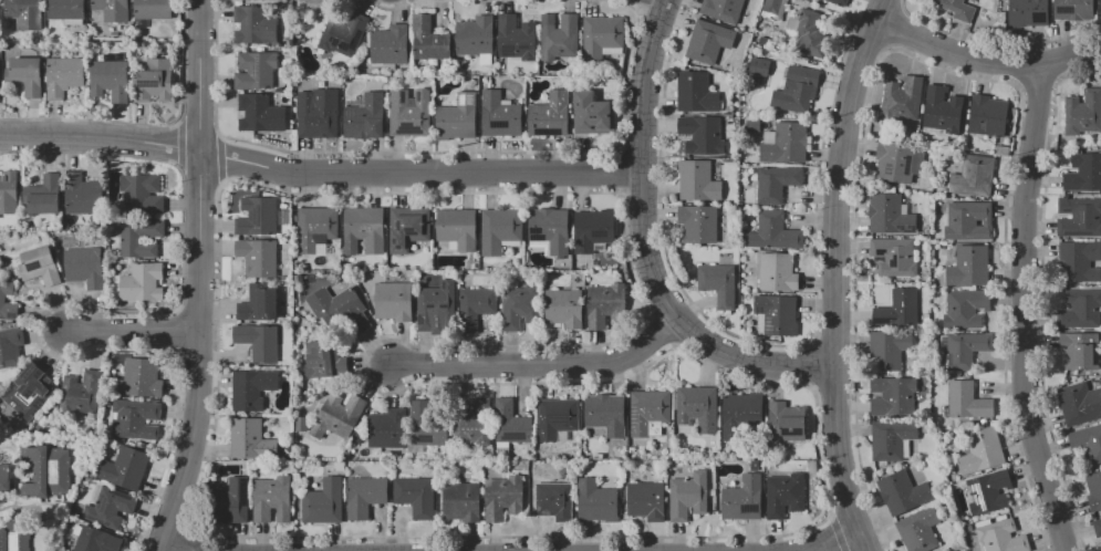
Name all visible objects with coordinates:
building: (324, 1)
building: (838, 2)
building: (1100, 7)
building: (773, 8)
building: (64, 9)
building: (153, 9)
building: (955, 9)
building: (1071, 9)
building: (112, 10)
building: (721, 10)
building: (23, 12)
building: (1027, 12)
building: (72, 22)
building: (255, 23)
building: (343, 34)
building: (601, 34)
building: (808, 34)
building: (559, 35)
building: (475, 37)
building: (516, 38)
building: (428, 40)
building: (762, 41)
building: (389, 44)
building: (710, 44)
road: (984, 61)
building: (758, 65)
building: (256, 70)
building: (28, 75)
building: (64, 76)
building: (111, 80)
building: (154, 82)
building: (471, 82)
road: (648, 86)
building: (797, 90)
building: (695, 92)
building: (902, 97)
building: (942, 110)
building: (259, 112)
building: (318, 113)
building: (408, 113)
building: (590, 113)
building: (1083, 113)
building: (500, 115)
building: (550, 115)
building: (987, 116)
building: (365, 117)
building: (457, 118)
building: (752, 126)
building: (702, 134)
building: (786, 144)
building: (894, 162)
building: (1083, 173)
building: (973, 176)
road: (318, 177)
building: (697, 181)
building: (777, 183)
building: (8, 191)
building: (141, 193)
building: (79, 194)
building: (43, 195)
building: (890, 214)
building: (257, 216)
building: (1079, 216)
building: (968, 220)
building: (697, 223)
building: (457, 227)
building: (315, 229)
building: (408, 229)
building: (500, 229)
building: (363, 230)
building: (593, 230)
building: (550, 231)
building: (773, 231)
building: (129, 240)
building: (894, 256)
building: (258, 257)
building: (1078, 261)
building: (39, 266)
building: (84, 267)
building: (968, 267)
building: (777, 272)
road: (835, 274)
road: (198, 278)
building: (142, 282)
building: (718, 283)
building: (2, 300)
building: (393, 301)
building: (258, 304)
building: (603, 304)
building: (475, 305)
building: (340, 306)
building: (436, 308)
building: (522, 308)
building: (564, 308)
building: (897, 309)
building: (965, 309)
building: (1080, 310)
road: (1022, 311)
building: (777, 313)
road: (683, 328)
road: (135, 336)
building: (258, 342)
building: (10, 347)
building: (966, 350)
building: (1080, 350)
building: (889, 351)
building: (318, 360)
road: (540, 365)
building: (141, 377)
building: (251, 388)
building: (30, 389)
building: (80, 392)
building: (893, 396)
building: (966, 401)
building: (1079, 404)
building: (696, 407)
building: (340, 413)
building: (648, 413)
building: (605, 414)
building: (742, 416)
building: (555, 417)
building: (136, 418)
building: (471, 418)
building: (511, 423)
building: (786, 423)
building: (301, 424)
building: (386, 428)
building: (426, 428)
building: (249, 438)
building: (891, 438)
building: (1088, 441)
building: (981, 450)
building: (126, 468)
building: (951, 469)
building: (48, 470)
building: (4, 477)
building: (988, 491)
building: (1094, 491)
building: (902, 492)
building: (785, 495)
building: (364, 496)
building: (415, 496)
building: (688, 496)
building: (503, 497)
building: (272, 499)
building: (742, 499)
building: (554, 500)
building: (595, 500)
building: (646, 500)
building: (231, 501)
building: (323, 502)
building: (460, 502)
building: (110, 508)
building: (963, 520)
building: (1098, 527)
building: (918, 530)
building: (14, 536)
building: (1001, 537)
building: (96, 540)
road: (834, 540)
road: (179, 548)

